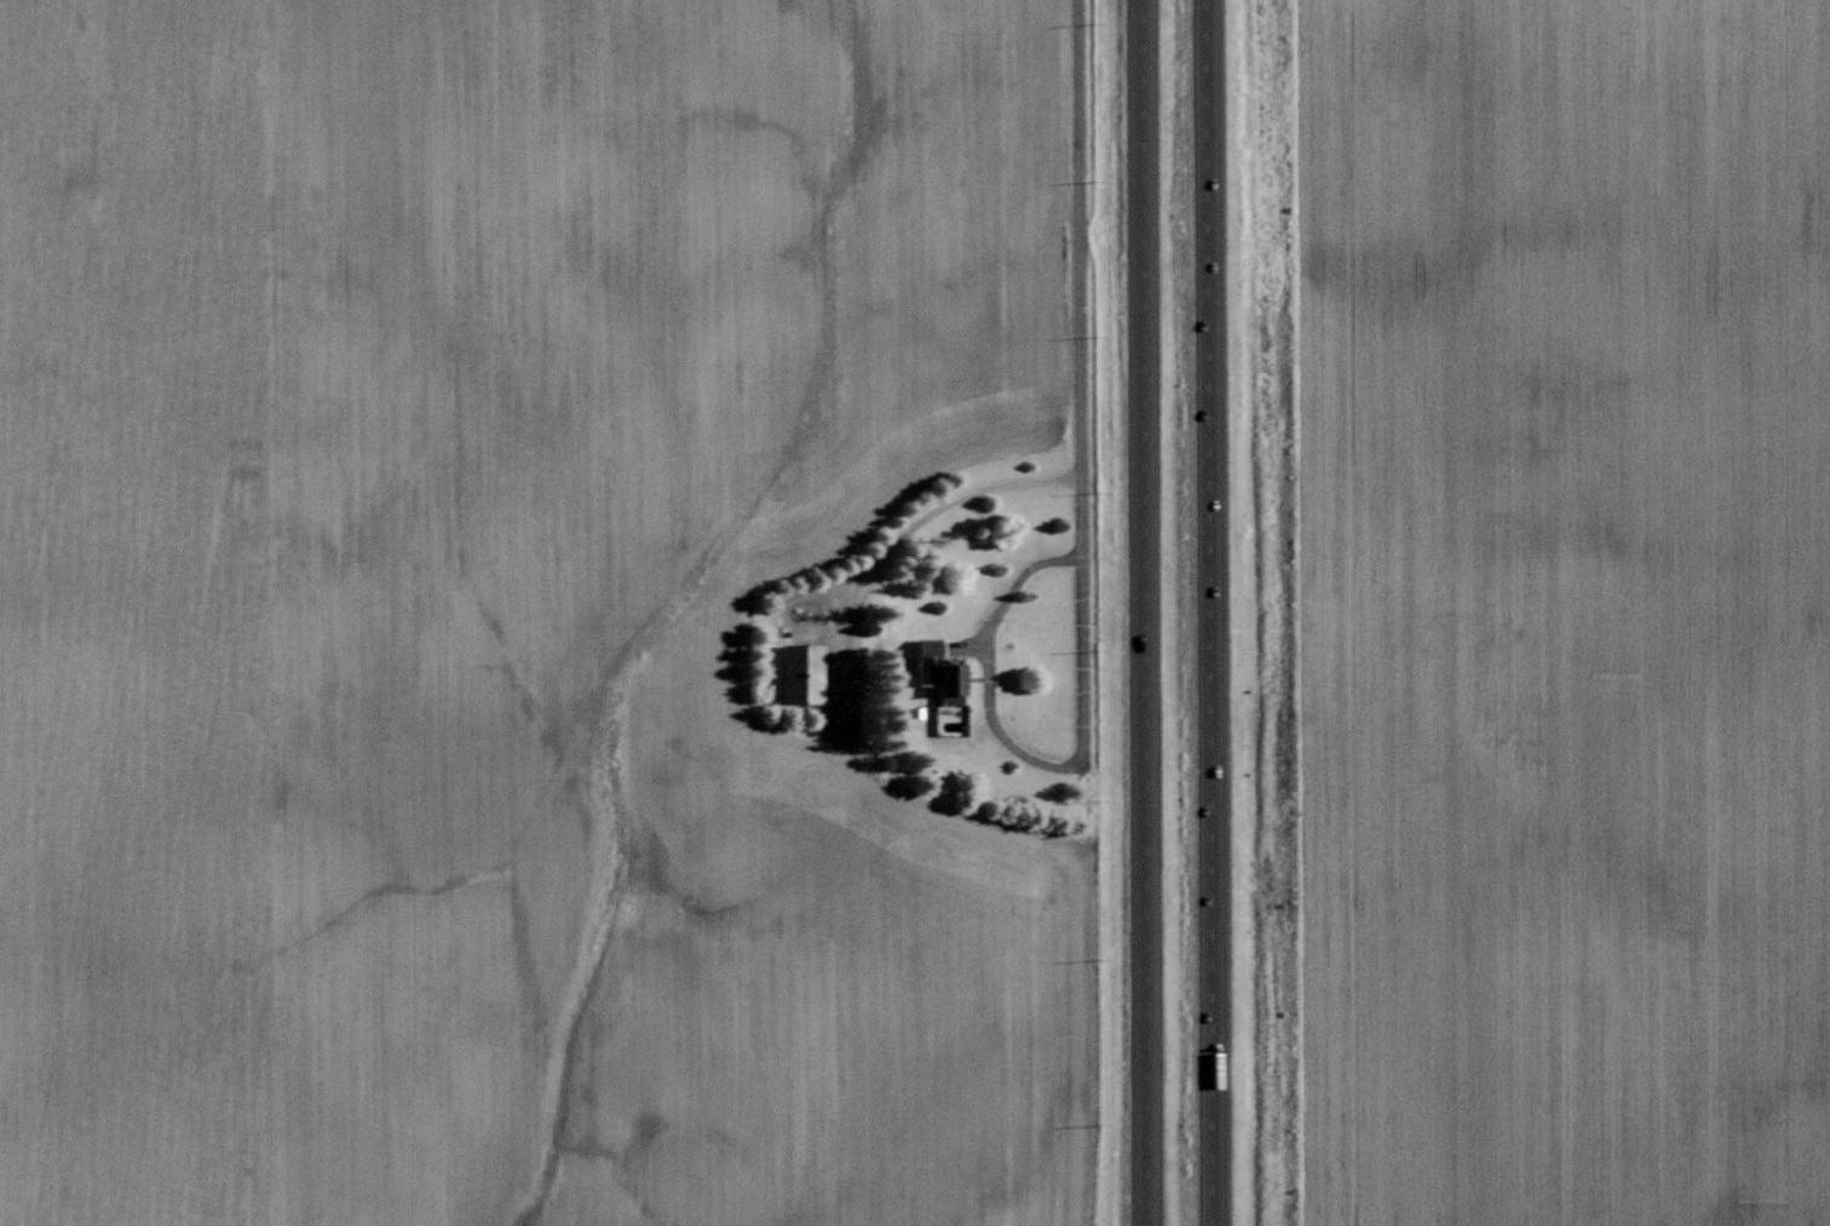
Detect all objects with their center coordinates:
road: (1078, 381)
road: (891, 547)
crop: (1559, 611)
road: (1145, 612)
road: (1210, 612)
building: (927, 658)
road: (985, 664)
building: (802, 673)
building: (951, 684)

